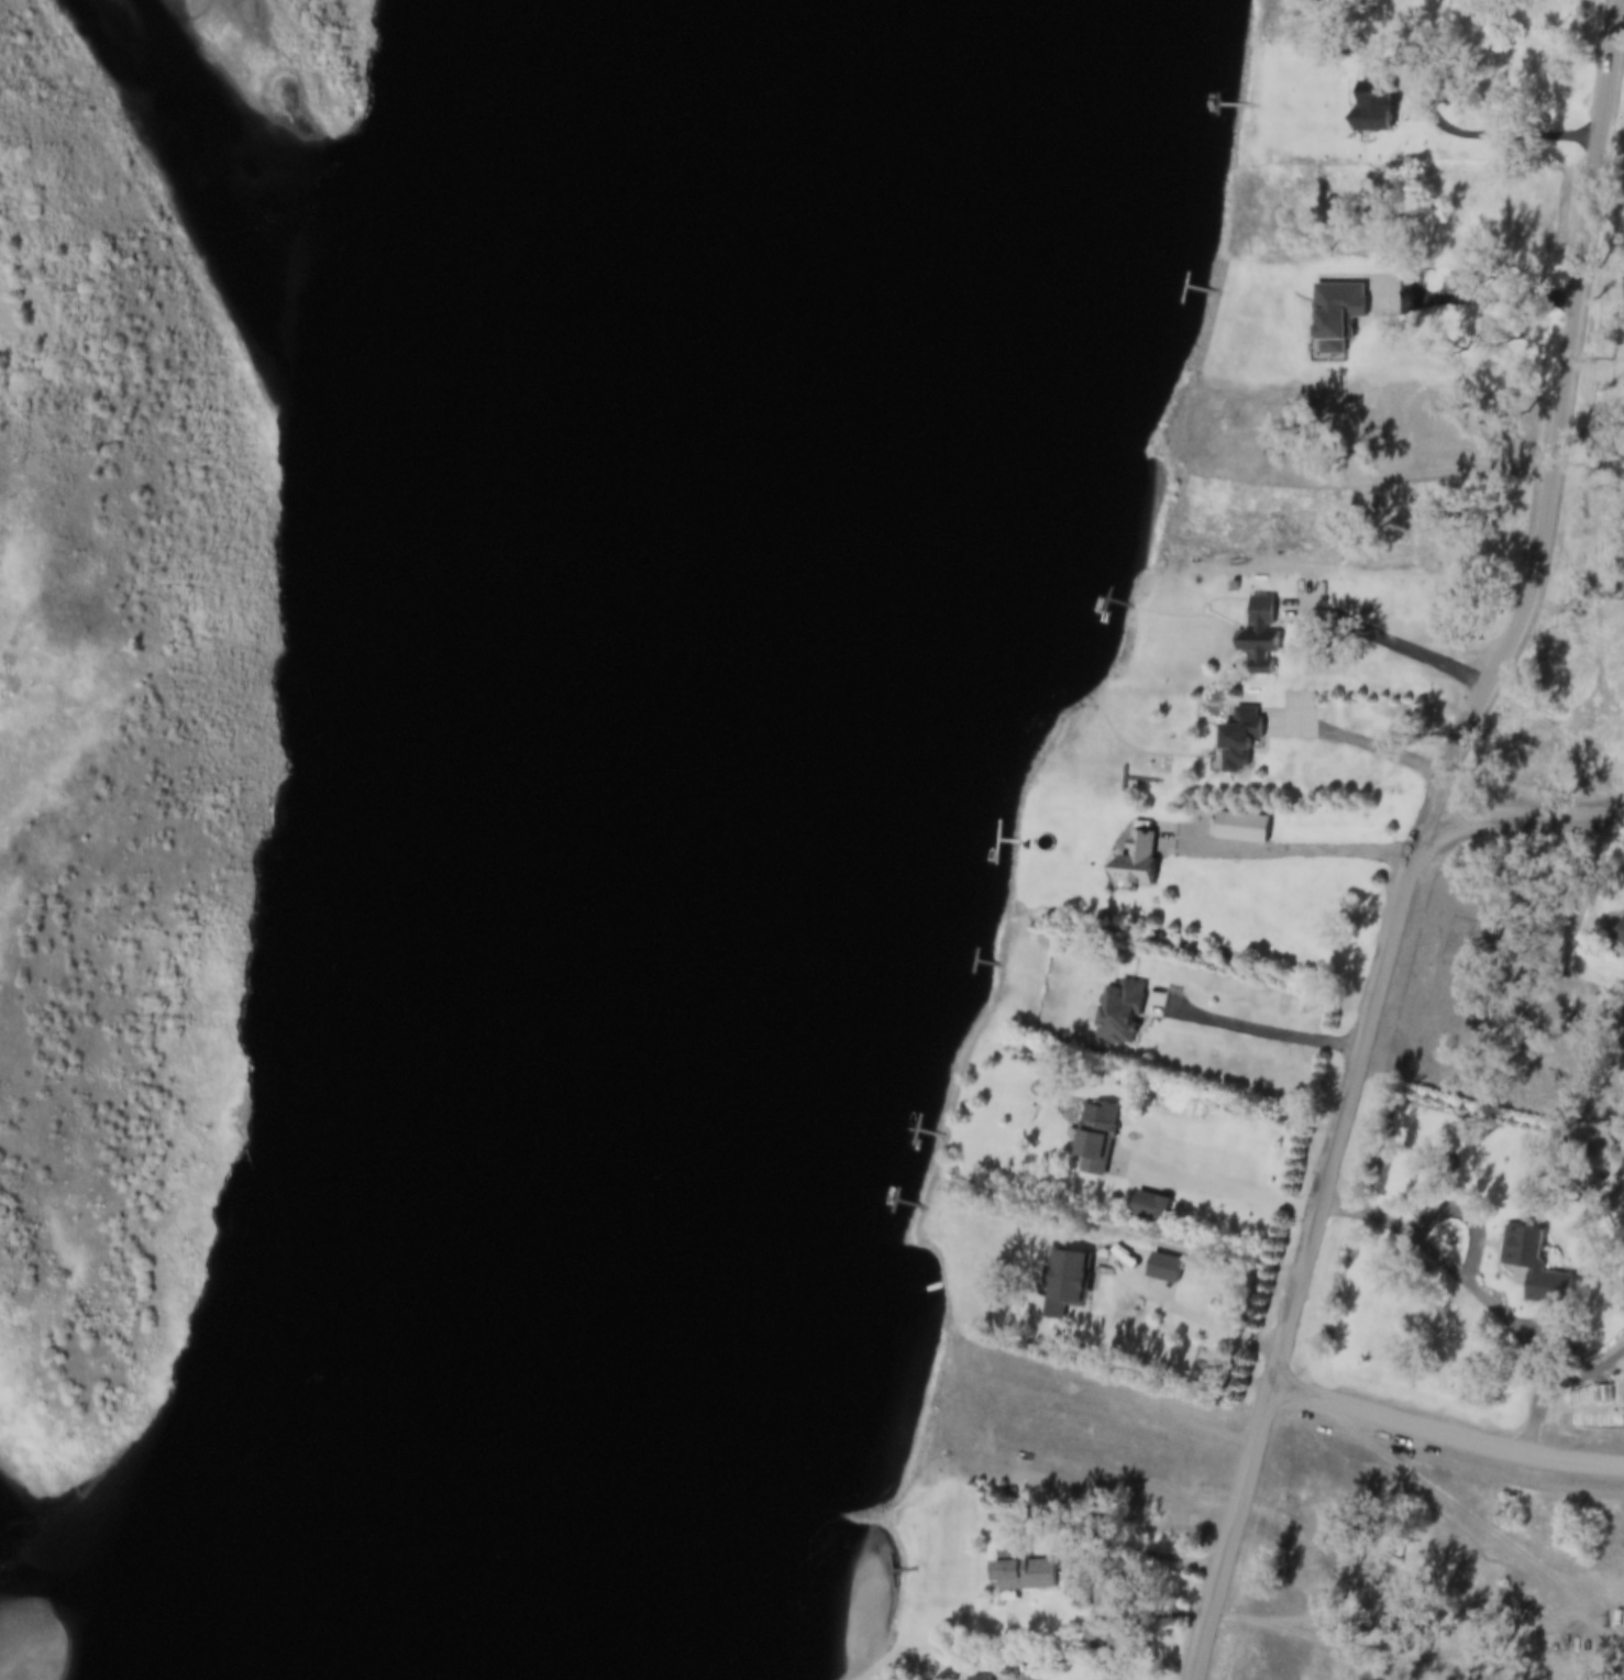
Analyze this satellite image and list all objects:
building: (1378, 110)
road: (1490, 143)
building: (1463, 286)
building: (1336, 319)
building: (1256, 633)
road: (1401, 646)
building: (1235, 740)
road: (1369, 741)
road: (1526, 819)
river: (782, 837)
road: (1422, 840)
road: (1293, 849)
building: (1133, 863)
building: (1617, 935)
building: (1116, 1014)
road: (1251, 1026)
building: (1092, 1140)
road: (1217, 1190)
building: (1147, 1209)
building: (1532, 1269)
building: (1161, 1270)
building: (1062, 1285)
road: (1190, 1312)
road: (1446, 1430)
building: (1019, 1574)
building: (977, 1679)

